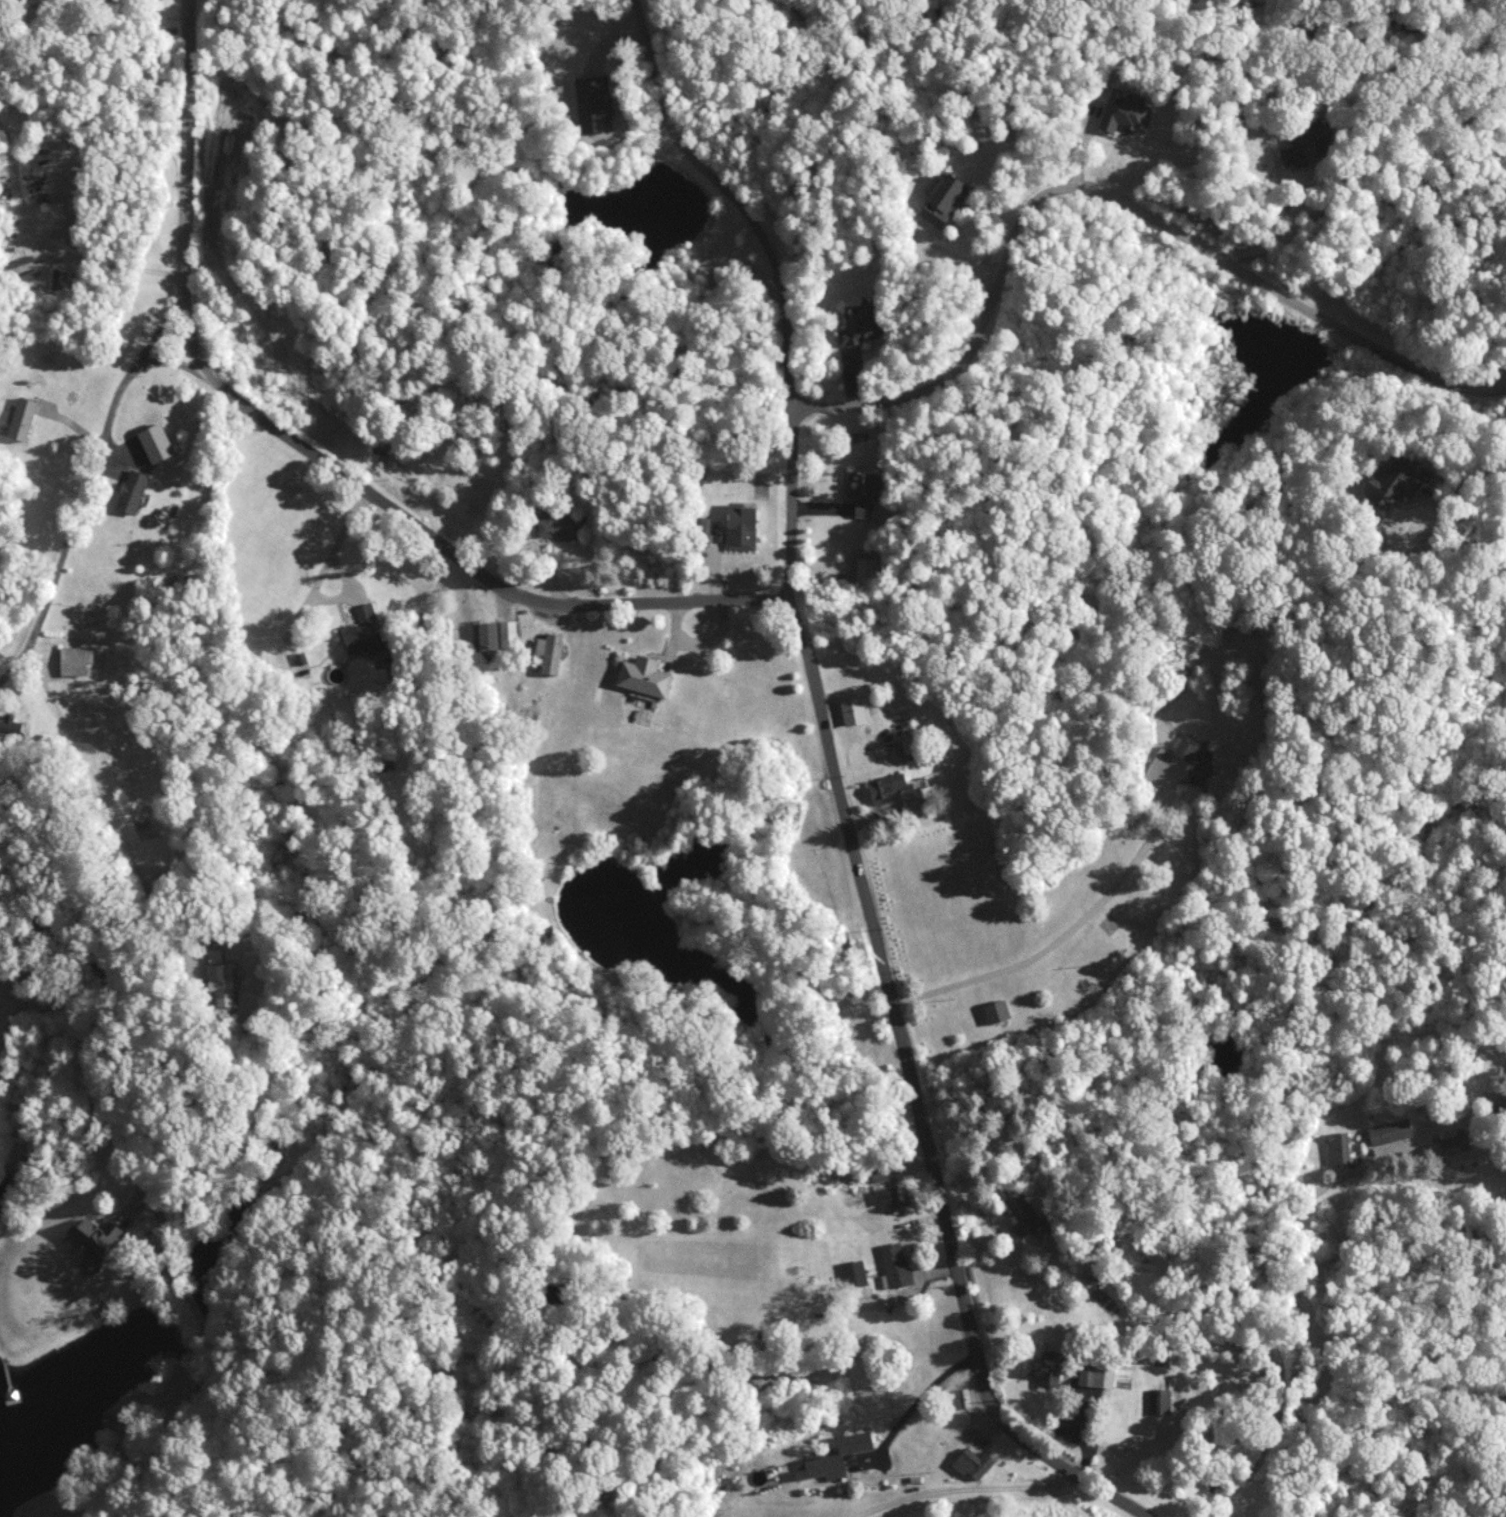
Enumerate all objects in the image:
building: (592, 104)
building: (1125, 109)
building: (1307, 145)
road: (1100, 197)
building: (944, 199)
road: (1281, 238)
road: (52, 244)
road: (966, 262)
road: (774, 276)
building: (860, 326)
building: (22, 417)
building: (156, 442)
building: (381, 445)
road: (1474, 479)
building: (1393, 482)
road: (91, 490)
building: (132, 490)
building: (862, 491)
building: (560, 526)
building: (742, 526)
building: (869, 568)
road: (316, 579)
road: (778, 606)
building: (364, 630)
building: (508, 632)
building: (489, 643)
building: (550, 651)
building: (75, 659)
building: (644, 674)
building: (854, 709)
building: (10, 727)
building: (1185, 748)
building: (1199, 772)
building: (895, 789)
road: (111, 811)
road: (1075, 942)
road: (100, 976)
building: (221, 977)
building: (997, 1009)
building: (1390, 1130)
building: (1456, 1141)
building: (1338, 1146)
building: (895, 1195)
building: (1022, 1211)
building: (90, 1236)
road: (1296, 1246)
building: (895, 1263)
building: (854, 1271)
building: (1095, 1273)
building: (1045, 1366)
building: (1096, 1373)
building: (1159, 1399)
road: (916, 1403)
building: (835, 1456)
building: (973, 1462)
road: (971, 1490)

